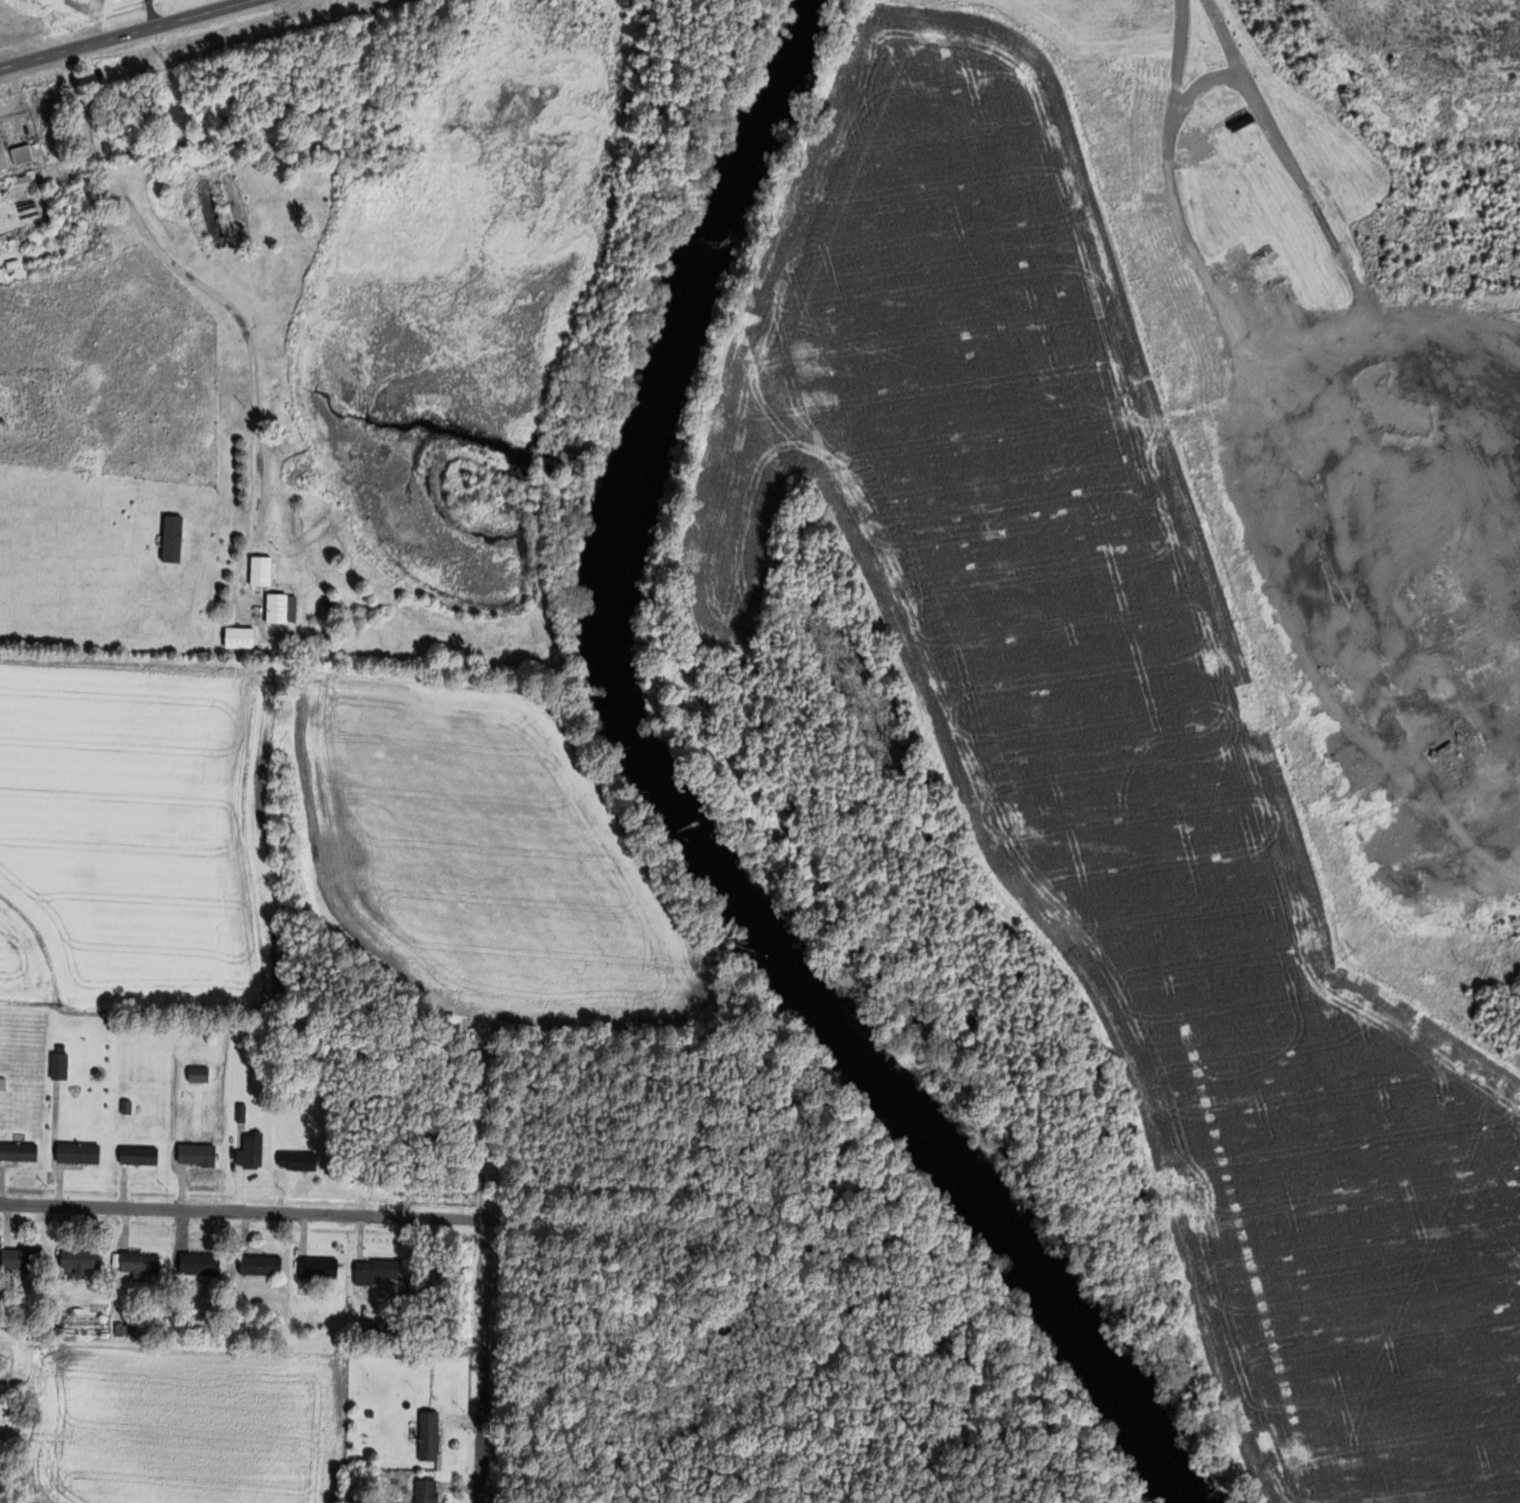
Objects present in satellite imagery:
road: (125, 34)
building: (1245, 122)
building: (4, 153)
building: (25, 154)
road: (271, 226)
road: (220, 298)
building: (263, 570)
building: (283, 608)
building: (242, 637)
building: (270, 650)
river: (700, 809)
building: (61, 1065)
building: (201, 1074)
building: (3, 1083)
building: (20, 1151)
building: (253, 1151)
building: (81, 1152)
building: (141, 1155)
building: (199, 1155)
building: (301, 1160)
road: (242, 1210)
building: (24, 1258)
building: (83, 1260)
building: (143, 1264)
building: (202, 1264)
building: (264, 1265)
building: (321, 1268)
building: (378, 1271)
road: (483, 1360)
building: (432, 1436)
building: (429, 1491)

